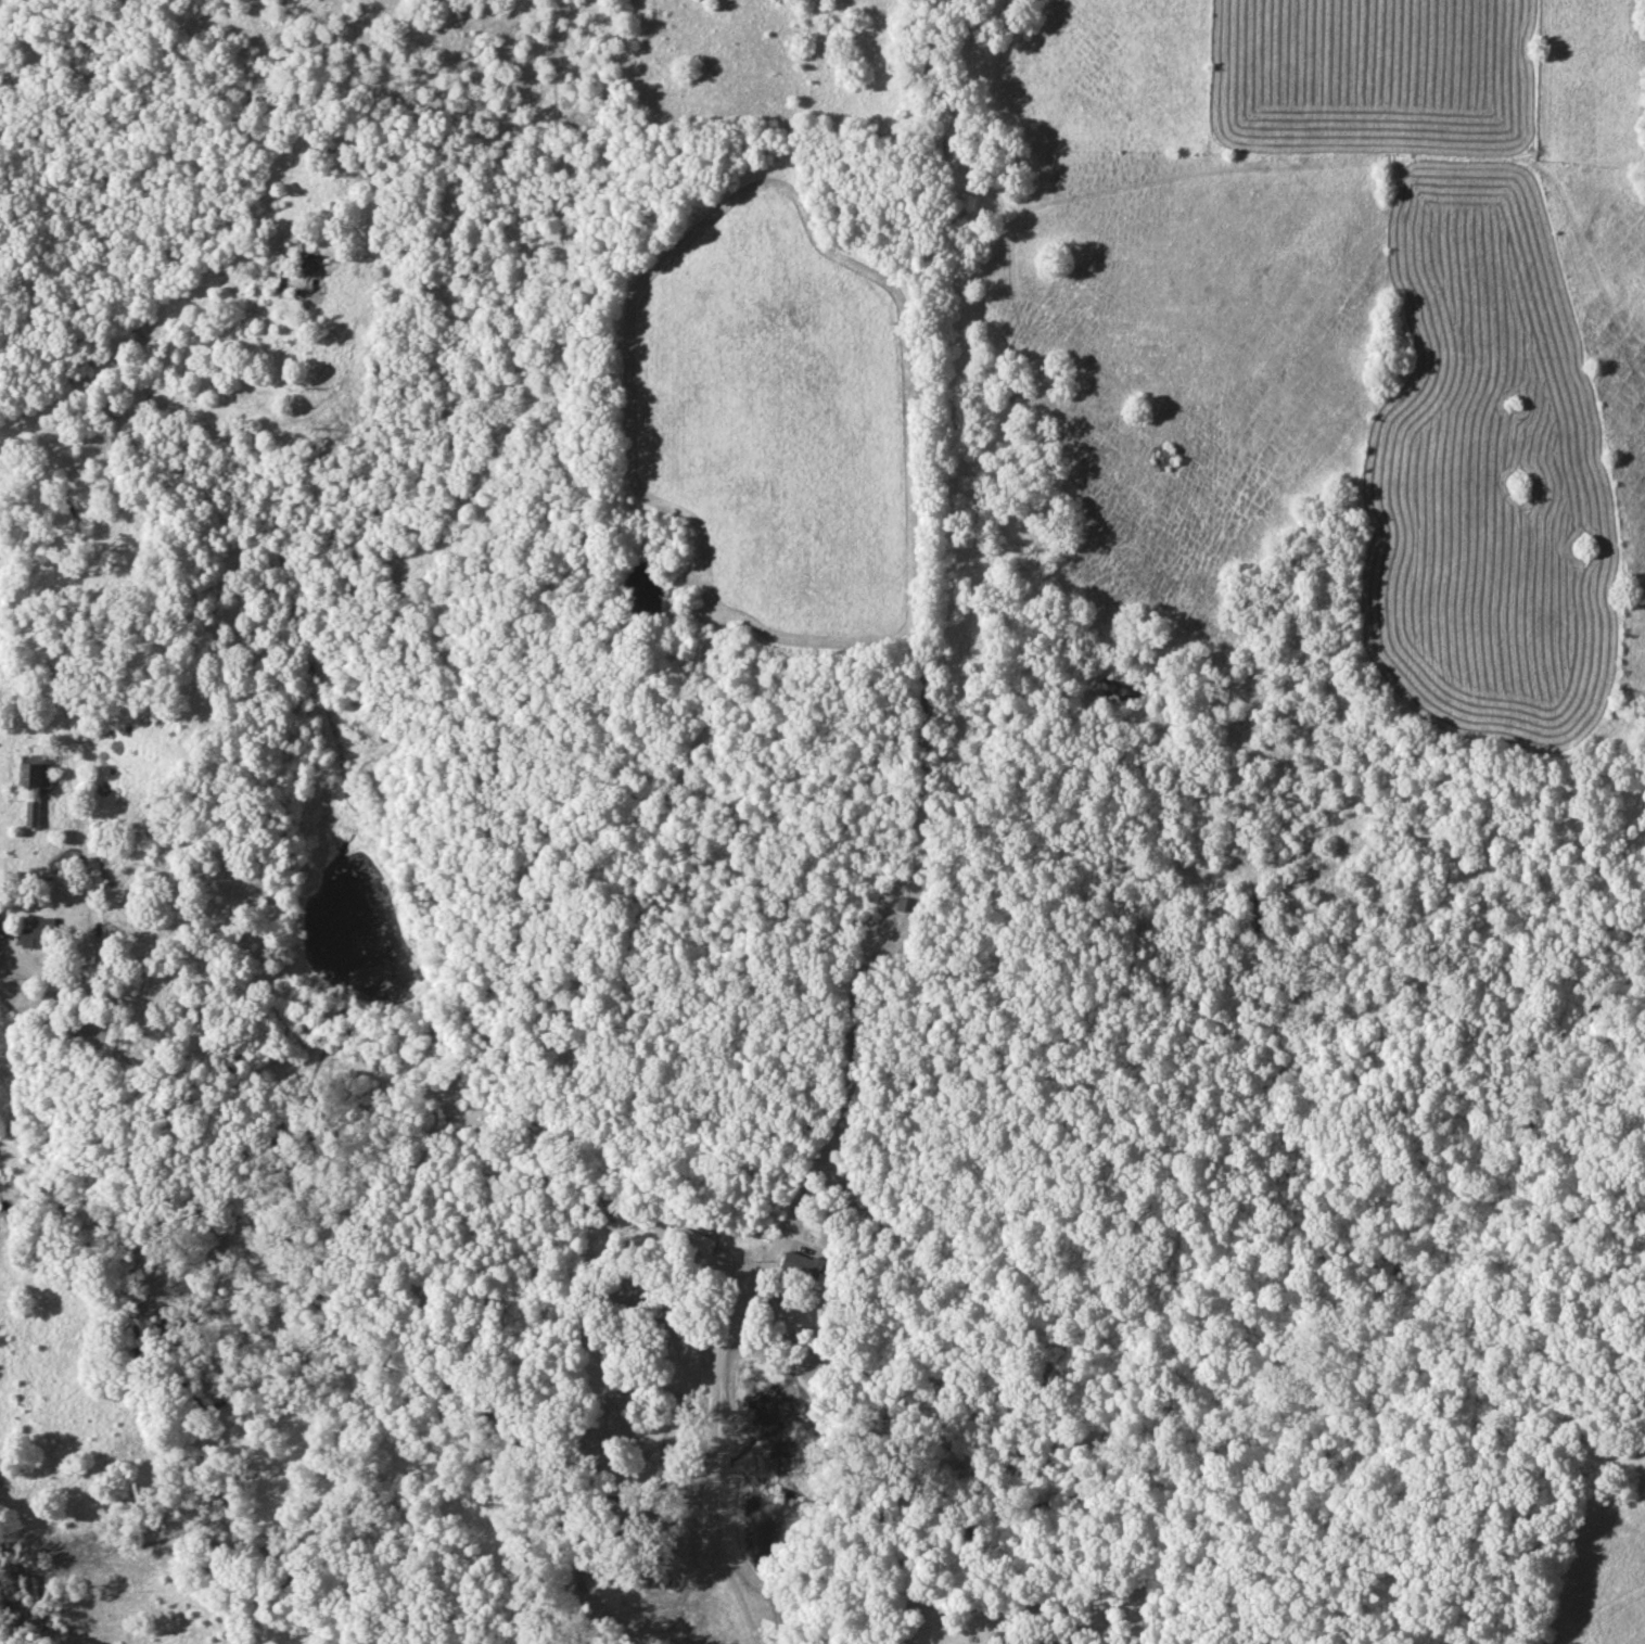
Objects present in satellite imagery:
building: (288, 245)
building: (37, 777)
building: (35, 815)
building: (41, 933)
road: (123, 1029)
building: (637, 1228)
building: (699, 1241)
building: (805, 1267)
road: (712, 1464)

